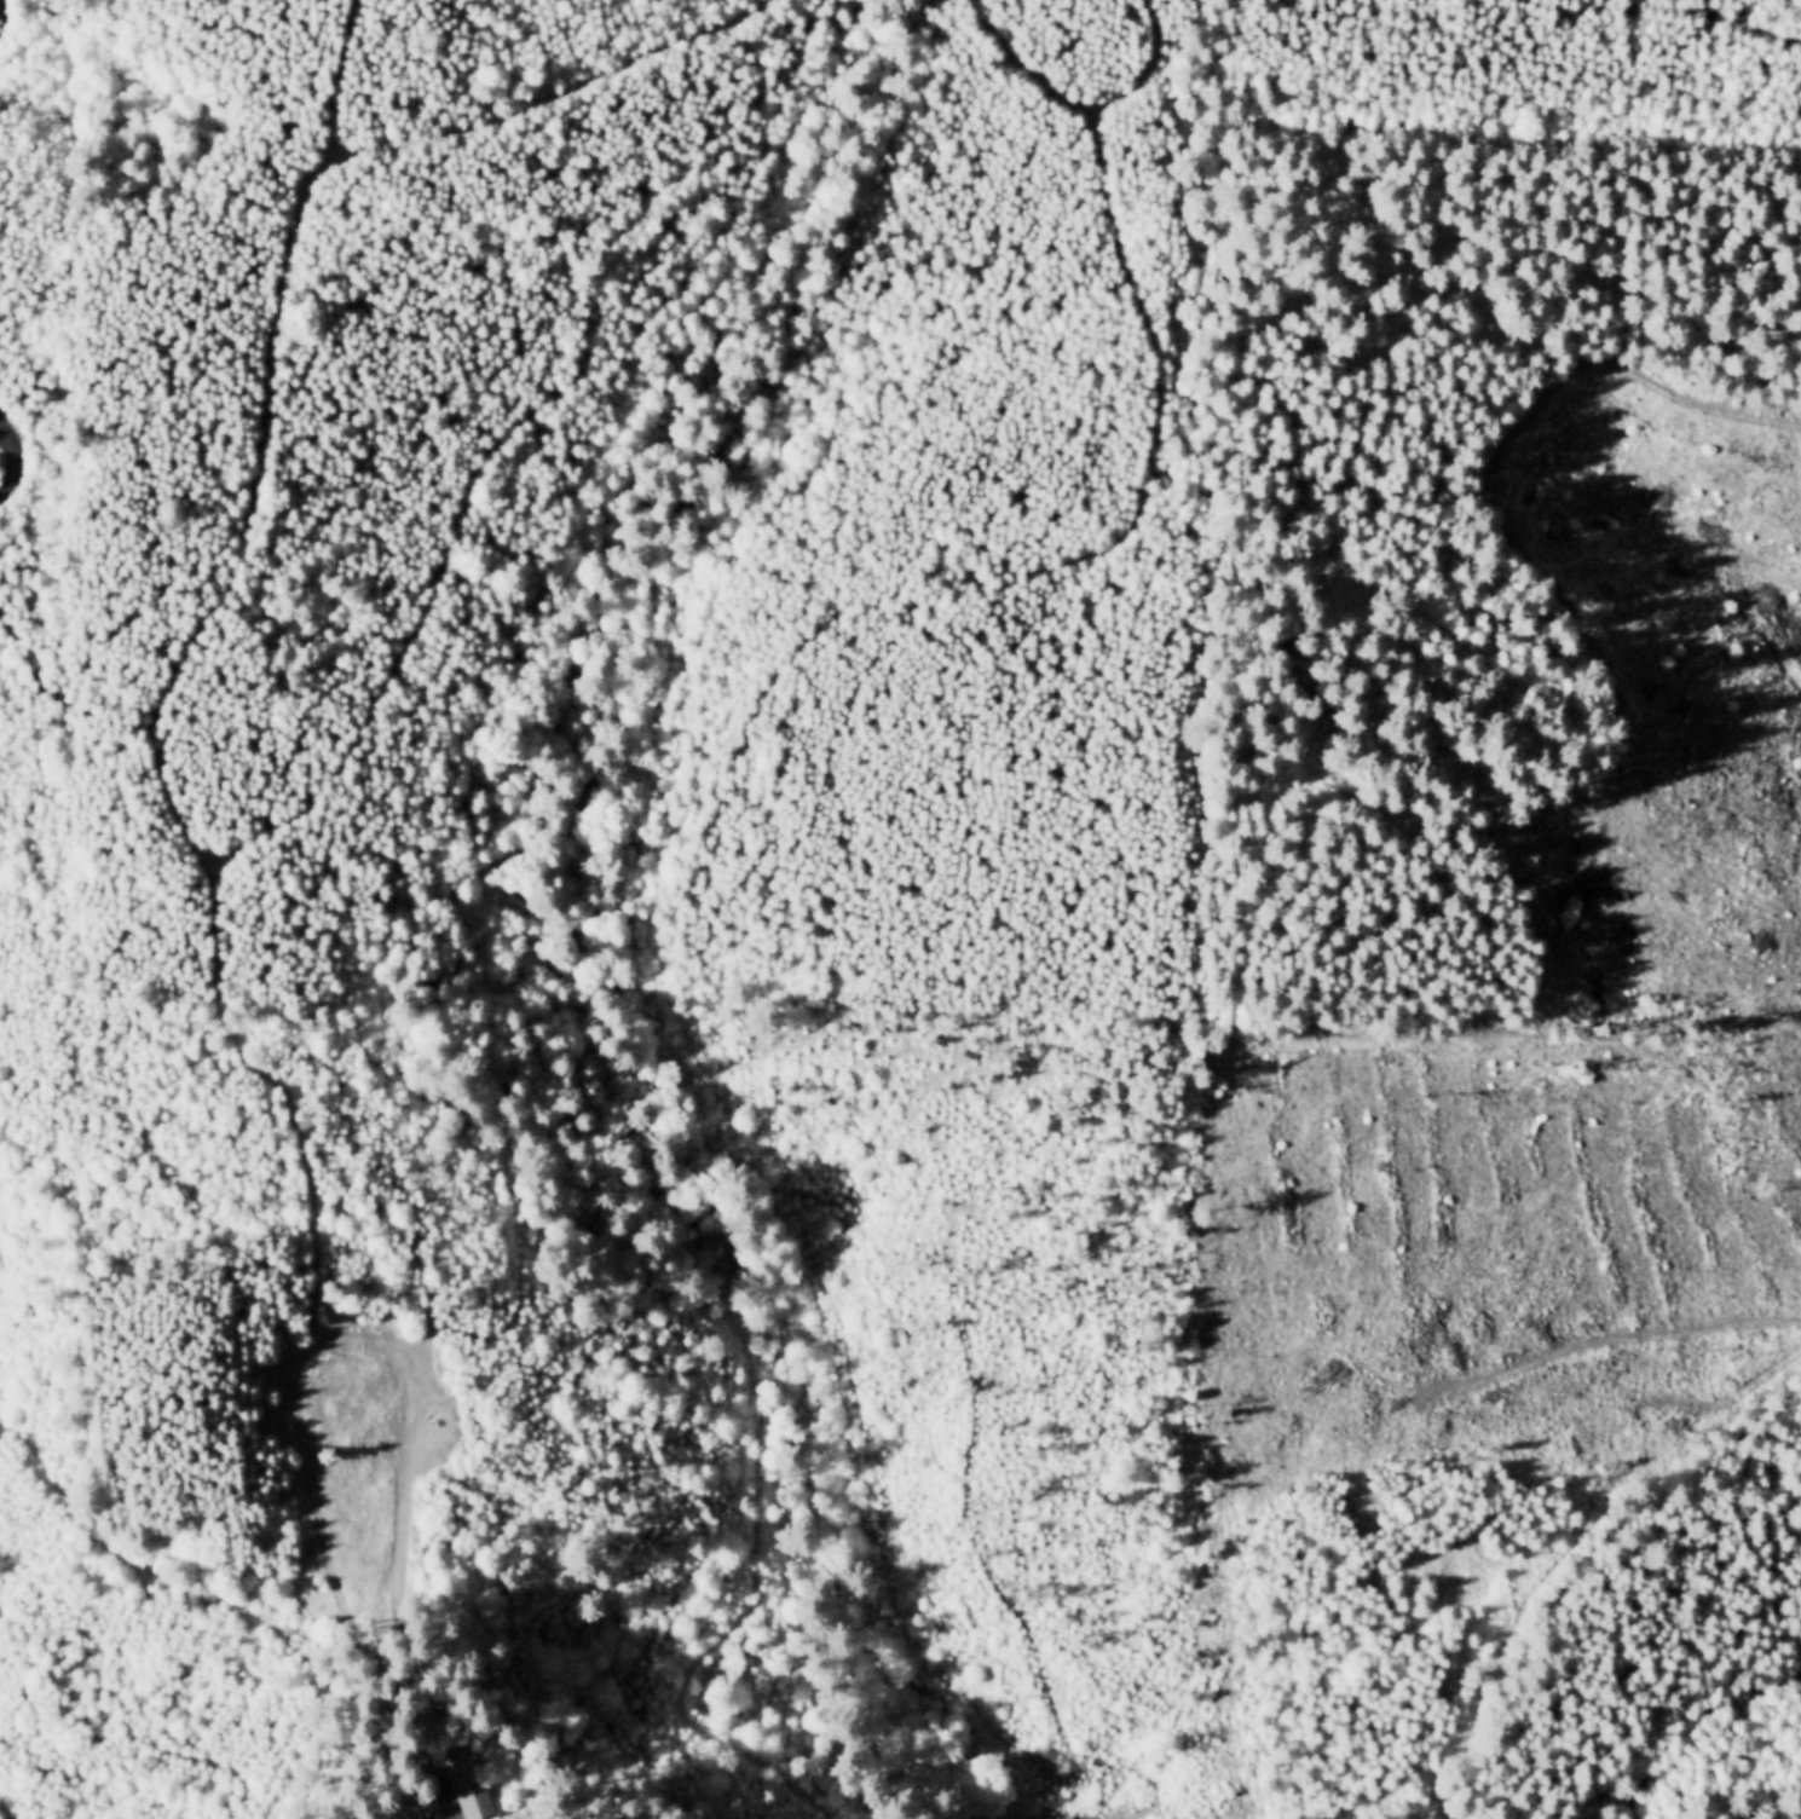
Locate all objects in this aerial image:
road: (2, 16)
road: (550, 94)
road: (1084, 104)
road: (1164, 375)
road: (11, 456)
road: (288, 818)
road: (404, 1353)
road: (965, 1463)
road: (693, 1566)
road: (209, 1595)
road: (889, 1595)
road: (703, 1658)
road: (435, 1763)
building: (475, 1780)
road: (411, 1807)
road: (7, 1813)

